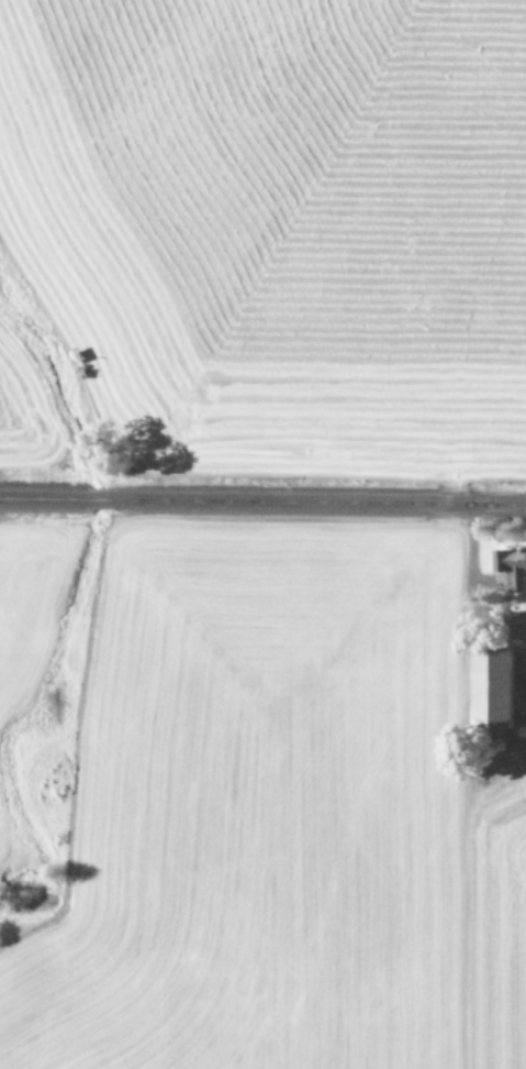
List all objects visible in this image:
crop: (264, 234)
road: (262, 500)
building: (512, 563)
building: (491, 684)
crop: (261, 796)

